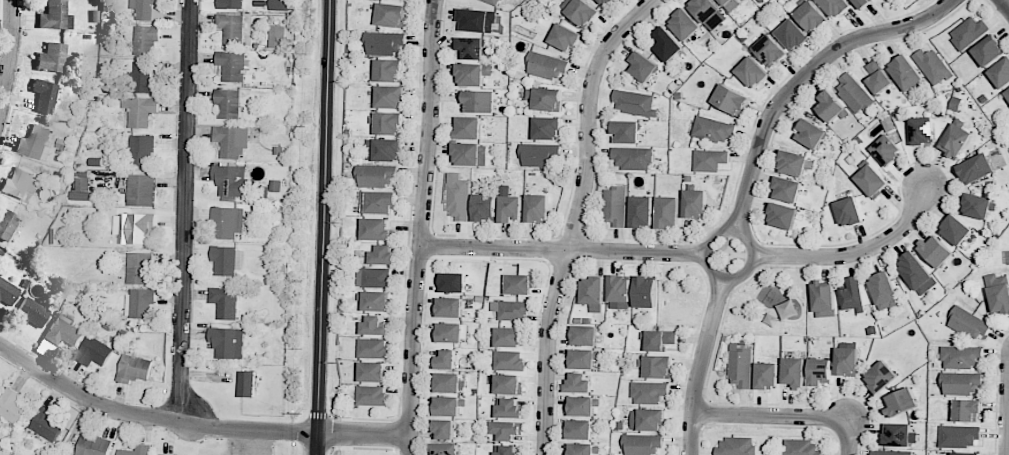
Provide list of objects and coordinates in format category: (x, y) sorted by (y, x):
building: (494, 2)
building: (605, 2)
building: (861, 3)
building: (229, 4)
building: (729, 4)
building: (279, 5)
road: (1004, 5)
building: (834, 6)
building: (142, 8)
building: (581, 12)
building: (708, 12)
building: (390, 15)
building: (55, 16)
building: (810, 16)
building: (476, 20)
building: (684, 25)
building: (231, 28)
building: (968, 32)
building: (791, 35)
building: (277, 37)
building: (564, 38)
building: (145, 39)
building: (384, 43)
building: (667, 44)
building: (470, 48)
building: (769, 50)
building: (988, 50)
building: (52, 58)
road: (12, 61)
building: (231, 65)
building: (546, 66)
building: (932, 66)
building: (643, 67)
building: (389, 70)
building: (751, 72)
building: (905, 73)
building: (1000, 73)
building: (472, 74)
road: (803, 77)
building: (878, 77)
building: (141, 79)
building: (1007, 93)
building: (853, 94)
building: (44, 96)
building: (389, 97)
building: (547, 99)
building: (730, 99)
building: (479, 101)
building: (228, 103)
building: (634, 103)
building: (831, 107)
building: (139, 111)
building: (388, 123)
building: (468, 128)
building: (547, 128)
building: (712, 129)
building: (626, 131)
building: (921, 131)
building: (810, 134)
building: (954, 140)
building: (231, 141)
building: (34, 143)
building: (382, 149)
building: (886, 149)
building: (142, 150)
building: (469, 154)
building: (540, 155)
building: (632, 158)
building: (709, 160)
building: (792, 163)
building: (975, 168)
building: (376, 175)
building: (871, 181)
building: (231, 182)
building: (19, 184)
building: (275, 185)
building: (81, 186)
building: (787, 189)
building: (141, 190)
building: (457, 197)
building: (377, 202)
building: (694, 203)
building: (615, 206)
building: (978, 206)
building: (484, 207)
building: (510, 209)
building: (537, 209)
road: (185, 210)
building: (641, 211)
building: (848, 211)
building: (667, 212)
road: (324, 215)
building: (782, 216)
road: (575, 217)
building: (227, 222)
building: (7, 224)
building: (133, 227)
road: (420, 227)
building: (376, 229)
road: (734, 230)
building: (955, 230)
road: (562, 249)
building: (935, 251)
road: (855, 252)
building: (383, 254)
building: (226, 260)
building: (138, 268)
building: (915, 273)
building: (373, 277)
building: (453, 282)
building: (519, 284)
building: (883, 291)
building: (7, 292)
building: (619, 292)
building: (645, 292)
building: (998, 292)
building: (592, 293)
building: (853, 294)
building: (823, 299)
building: (376, 301)
building: (140, 302)
building: (225, 302)
park: (738, 302)
building: (449, 307)
building: (511, 310)
building: (32, 313)
building: (969, 323)
building: (374, 326)
building: (451, 332)
building: (61, 335)
building: (584, 335)
building: (508, 337)
building: (659, 340)
building: (227, 342)
building: (373, 348)
building: (93, 352)
building: (960, 357)
building: (582, 359)
building: (444, 360)
building: (508, 360)
building: (846, 361)
road: (698, 365)
building: (740, 365)
building: (657, 367)
building: (133, 369)
building: (819, 371)
building: (372, 372)
building: (793, 372)
building: (766, 375)
building: (880, 376)
building: (448, 382)
building: (960, 383)
building: (246, 384)
building: (508, 384)
building: (578, 384)
building: (648, 392)
building: (372, 396)
building: (900, 402)
building: (11, 406)
building: (447, 406)
building: (583, 406)
building: (509, 408)
building: (966, 410)
road: (769, 416)
road: (150, 417)
building: (647, 420)
building: (46, 424)
road: (1007, 425)
building: (444, 429)
building: (578, 429)
building: (506, 430)
road: (363, 432)
building: (897, 434)
road: (846, 436)
building: (958, 436)
street lamp: (205, 441)
road: (317, 443)
building: (92, 445)
building: (642, 445)
building: (736, 446)
building: (799, 447)
building: (444, 449)
building: (580, 449)
building: (136, 450)
building: (507, 450)
building: (892, 452)
building: (965, 453)
building: (163, 454)

